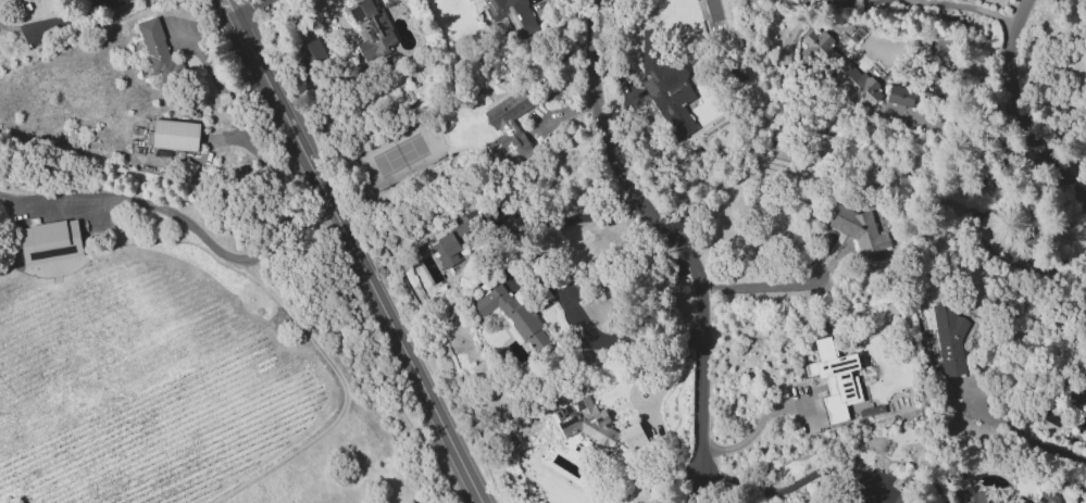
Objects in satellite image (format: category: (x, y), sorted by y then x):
building: (85, 0)
building: (824, 2)
road: (248, 7)
road: (966, 7)
building: (508, 14)
road: (55, 20)
building: (371, 29)
building: (311, 53)
building: (837, 71)
building: (665, 85)
crop: (117, 89)
building: (931, 89)
building: (899, 96)
road: (1011, 115)
road: (956, 120)
building: (508, 128)
building: (174, 135)
road: (1079, 192)
road: (570, 219)
road: (194, 228)
building: (858, 228)
road: (665, 229)
building: (997, 238)
building: (49, 241)
building: (452, 242)
road: (333, 248)
road: (358, 249)
road: (758, 288)
road: (573, 312)
building: (511, 314)
building: (948, 340)
building: (834, 378)
building: (1072, 394)
building: (595, 425)
road: (753, 431)
road: (1018, 436)
road: (794, 485)
road: (707, 486)
building: (974, 496)
building: (1046, 498)
building: (885, 502)
building: (1024, 502)

